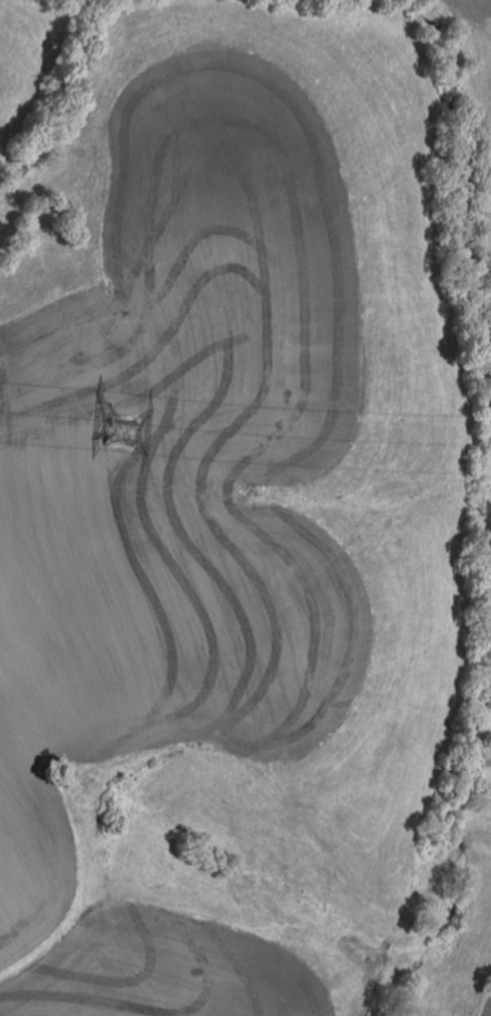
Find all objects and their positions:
power tower: (117, 431)

